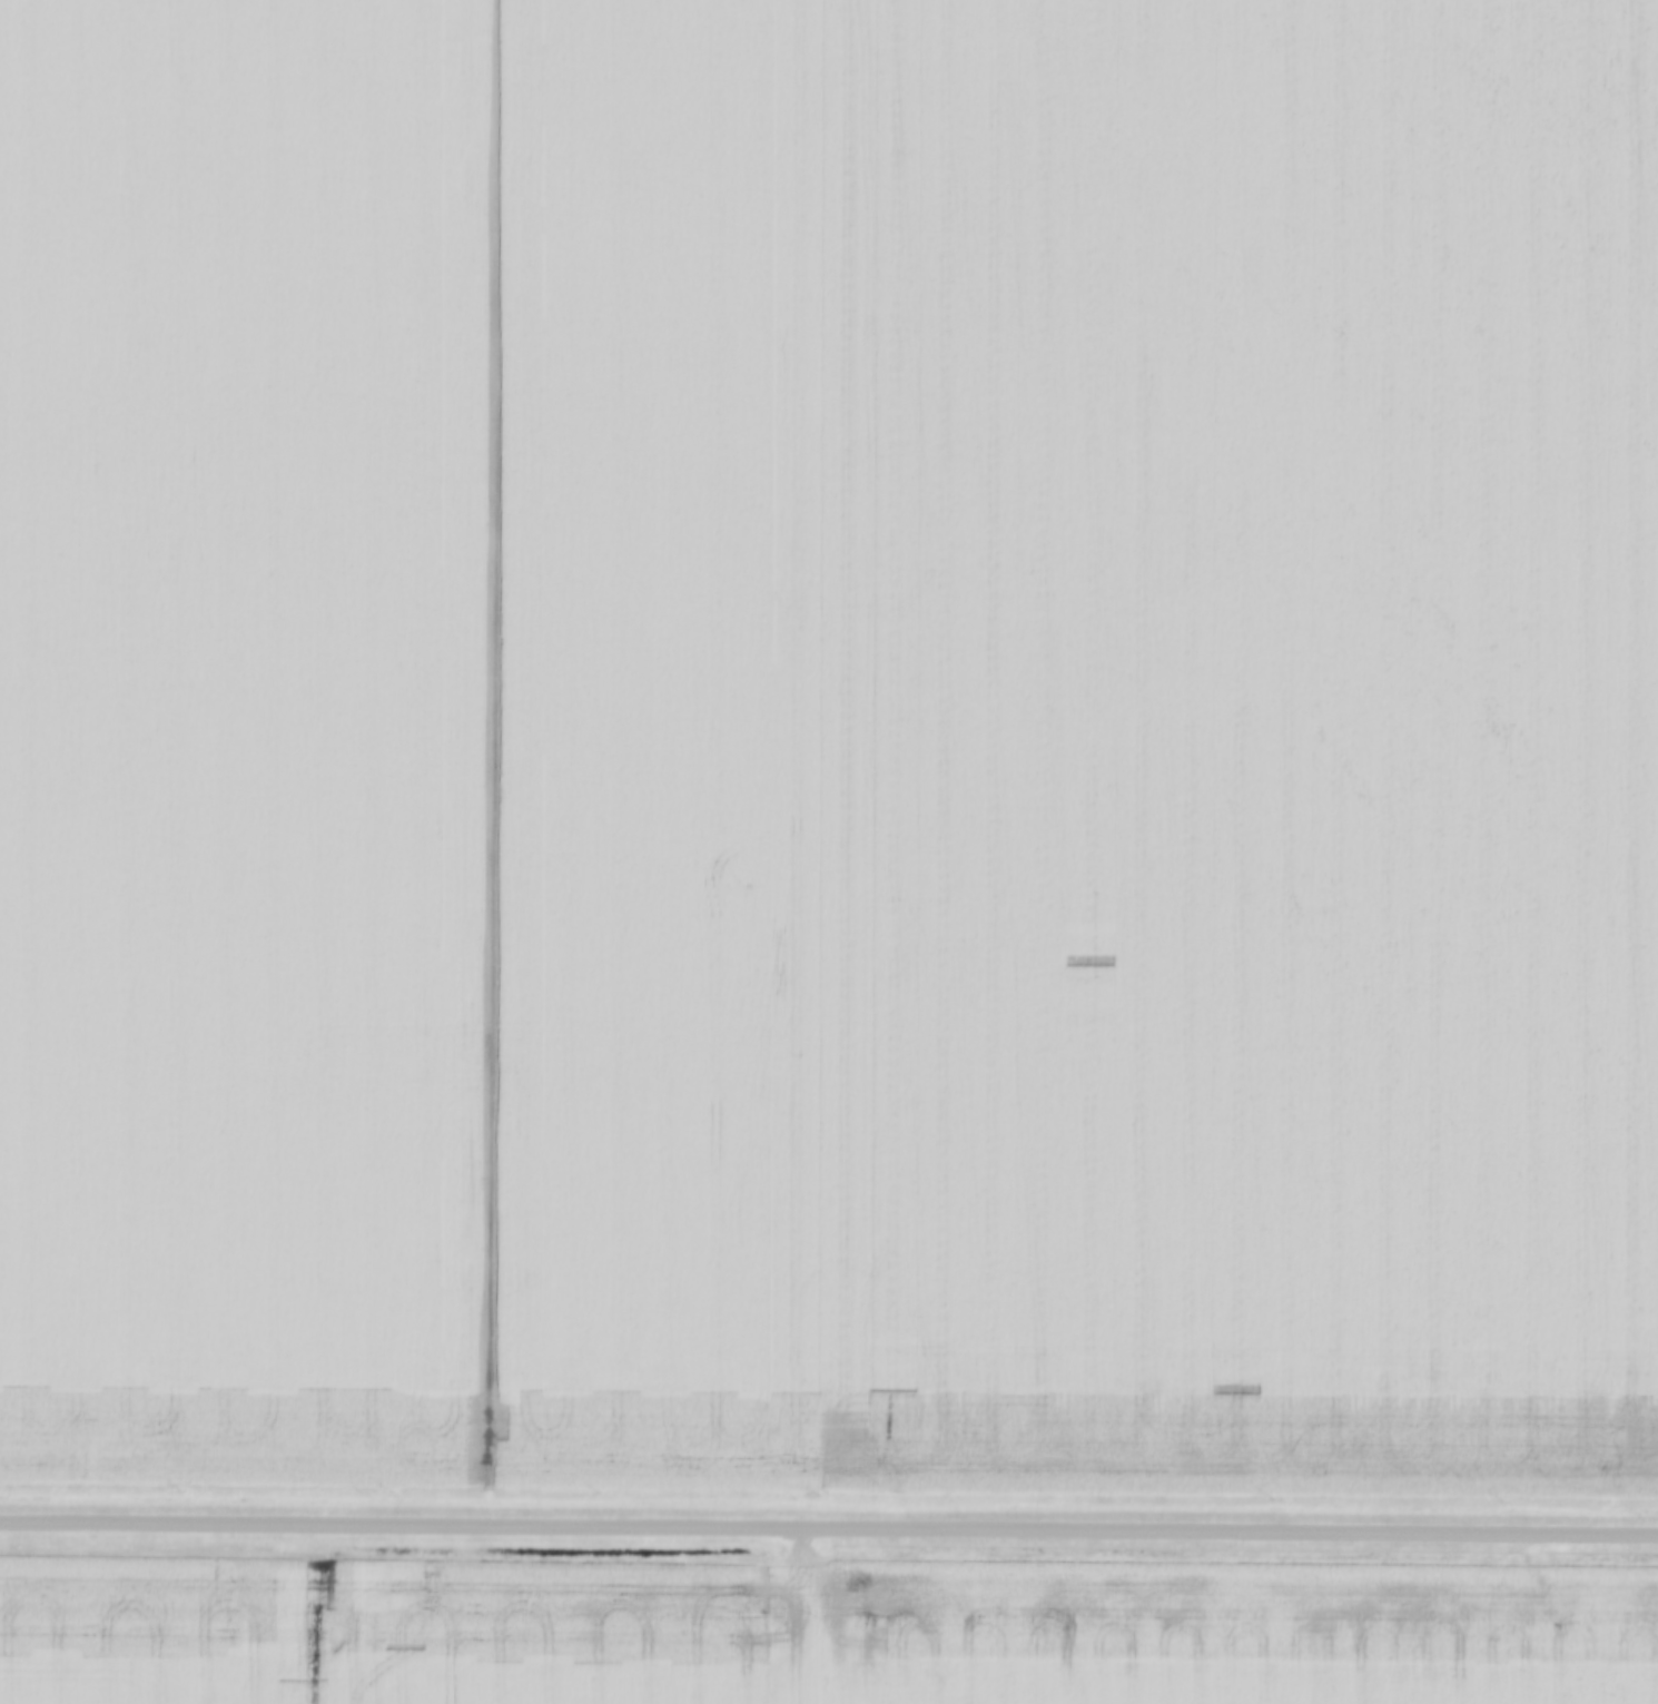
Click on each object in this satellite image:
road: (828, 1531)

